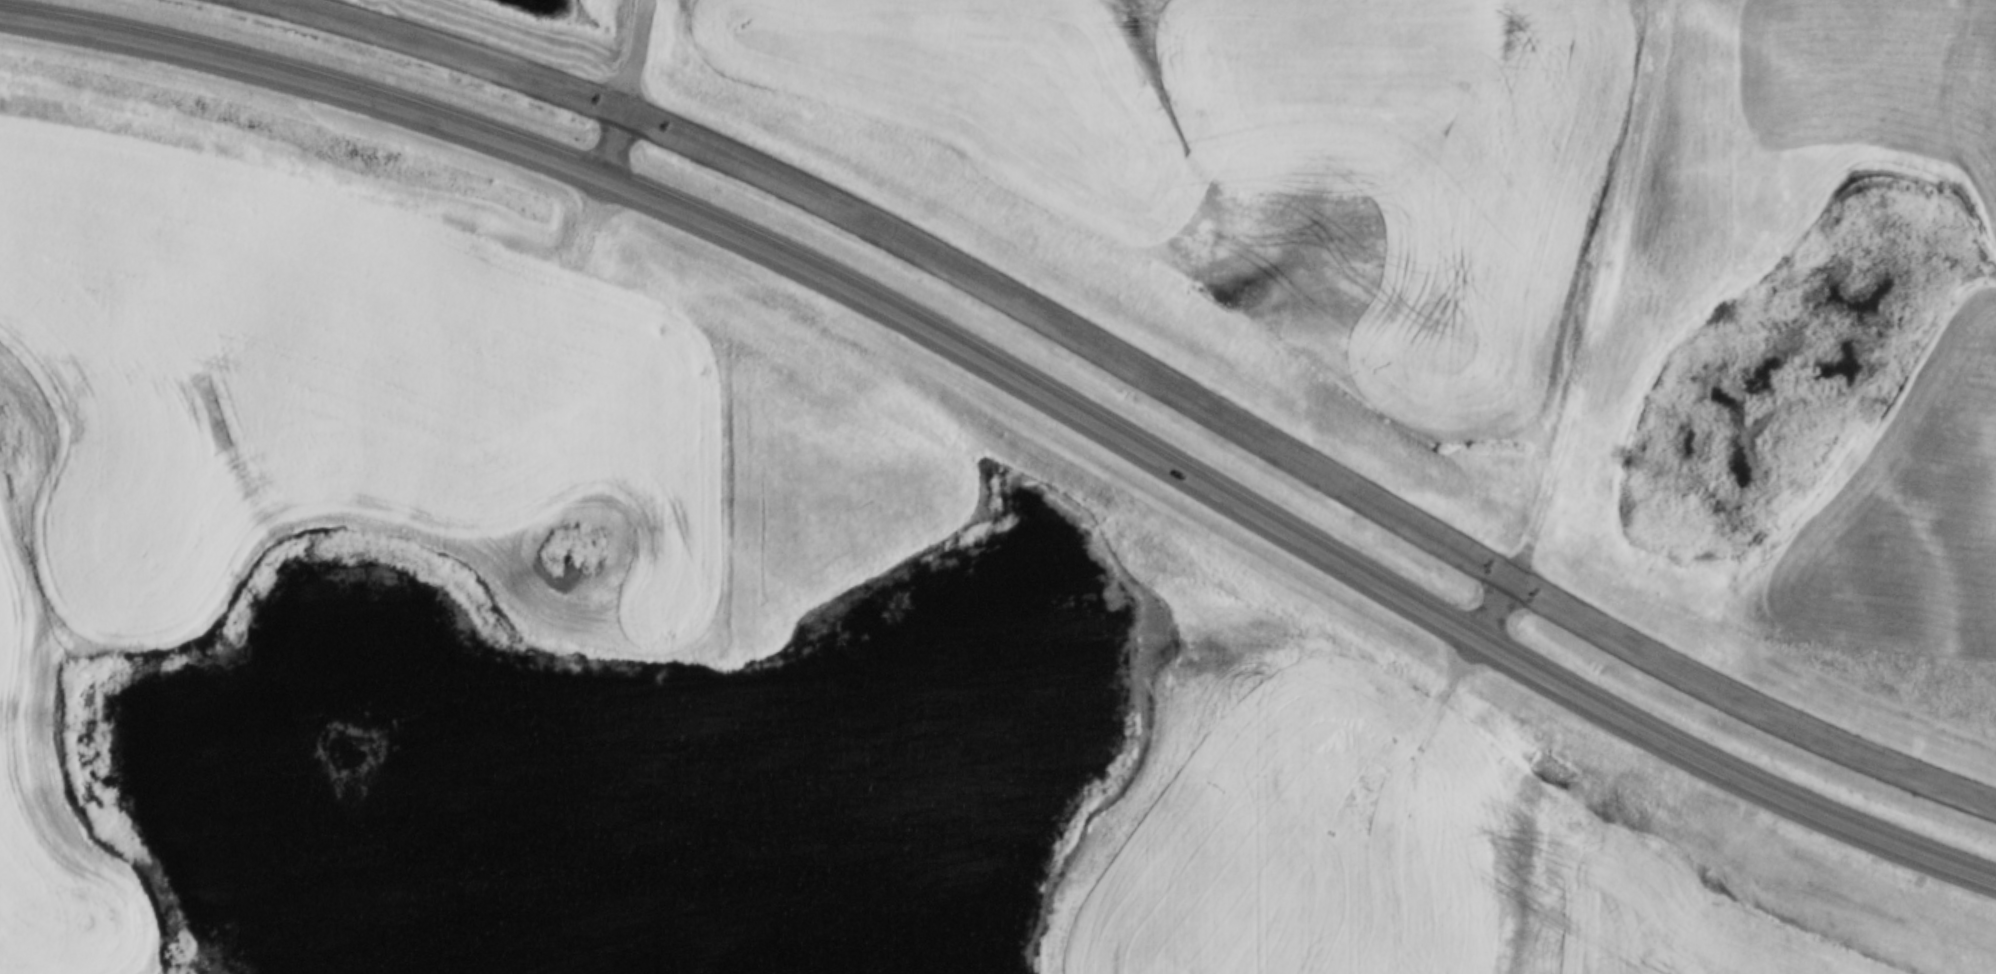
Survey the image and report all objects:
road: (628, 89)
crop: (1268, 157)
road: (1598, 298)
road: (1139, 374)
road: (1025, 379)
road: (1500, 615)

